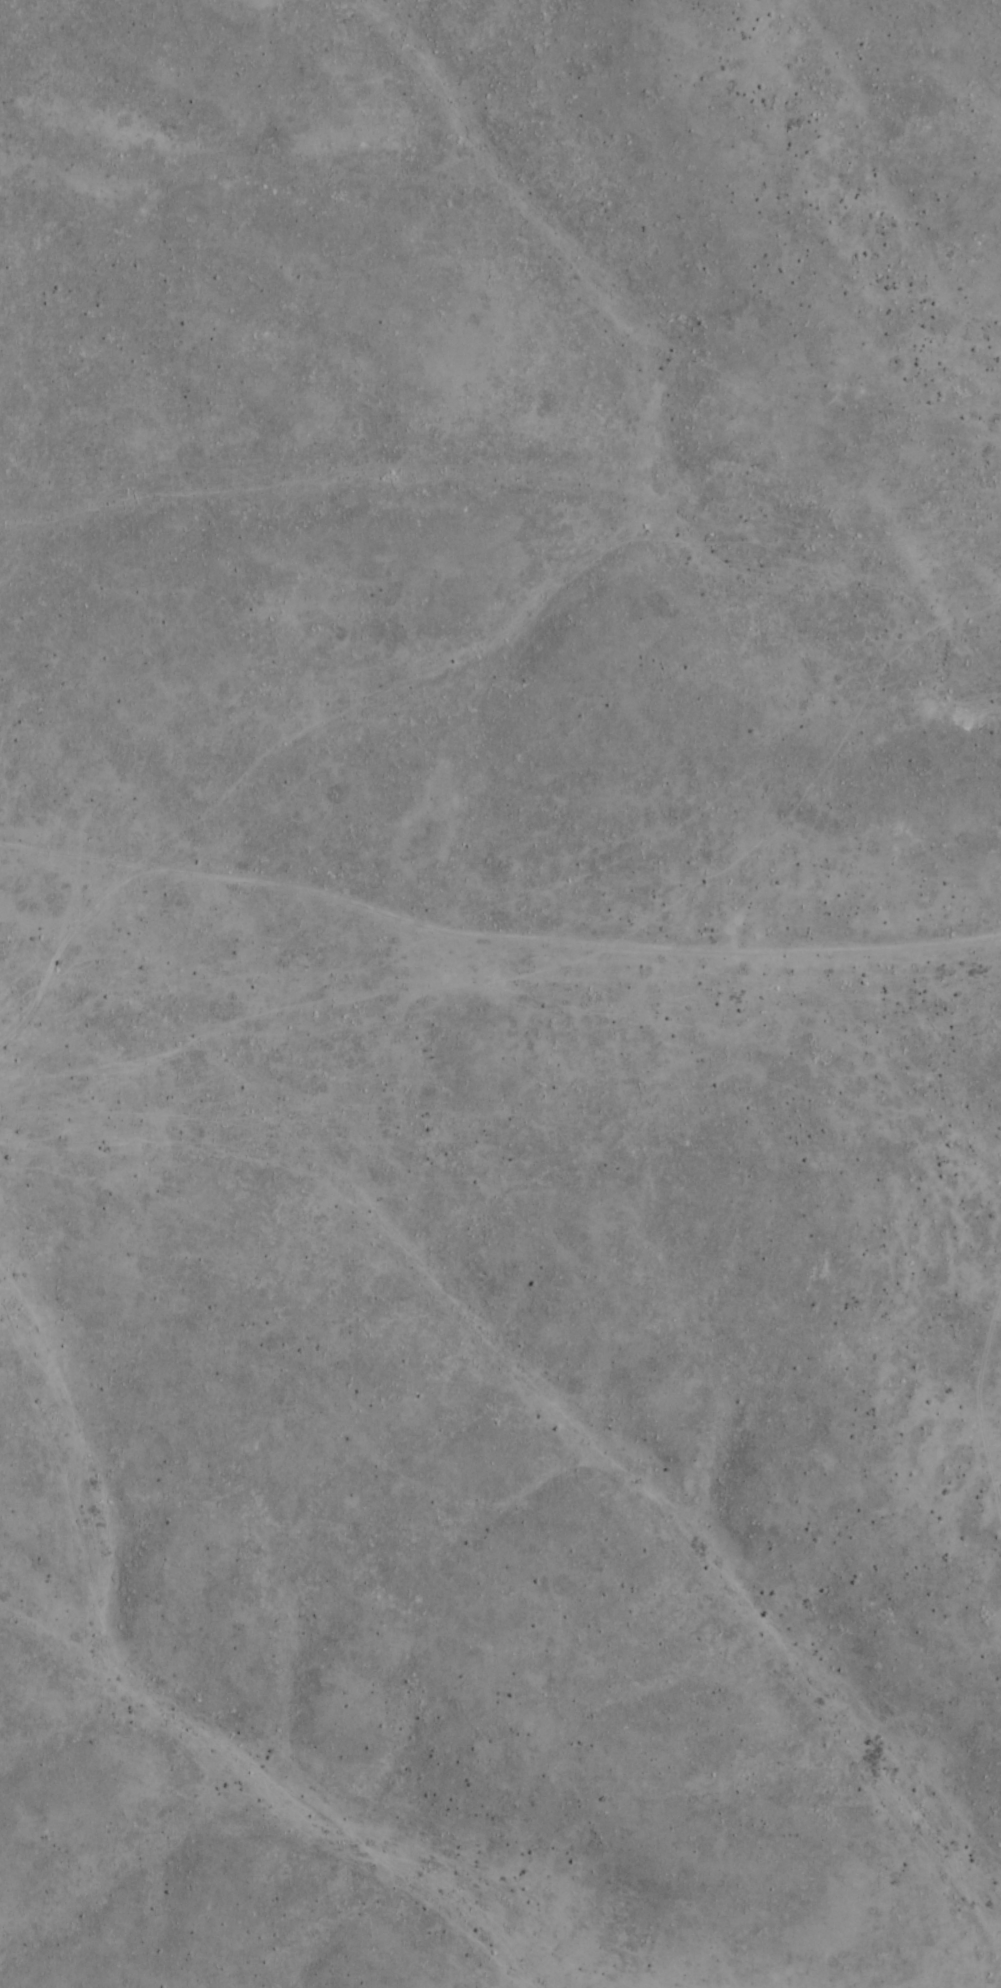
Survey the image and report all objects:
road: (499, 943)

